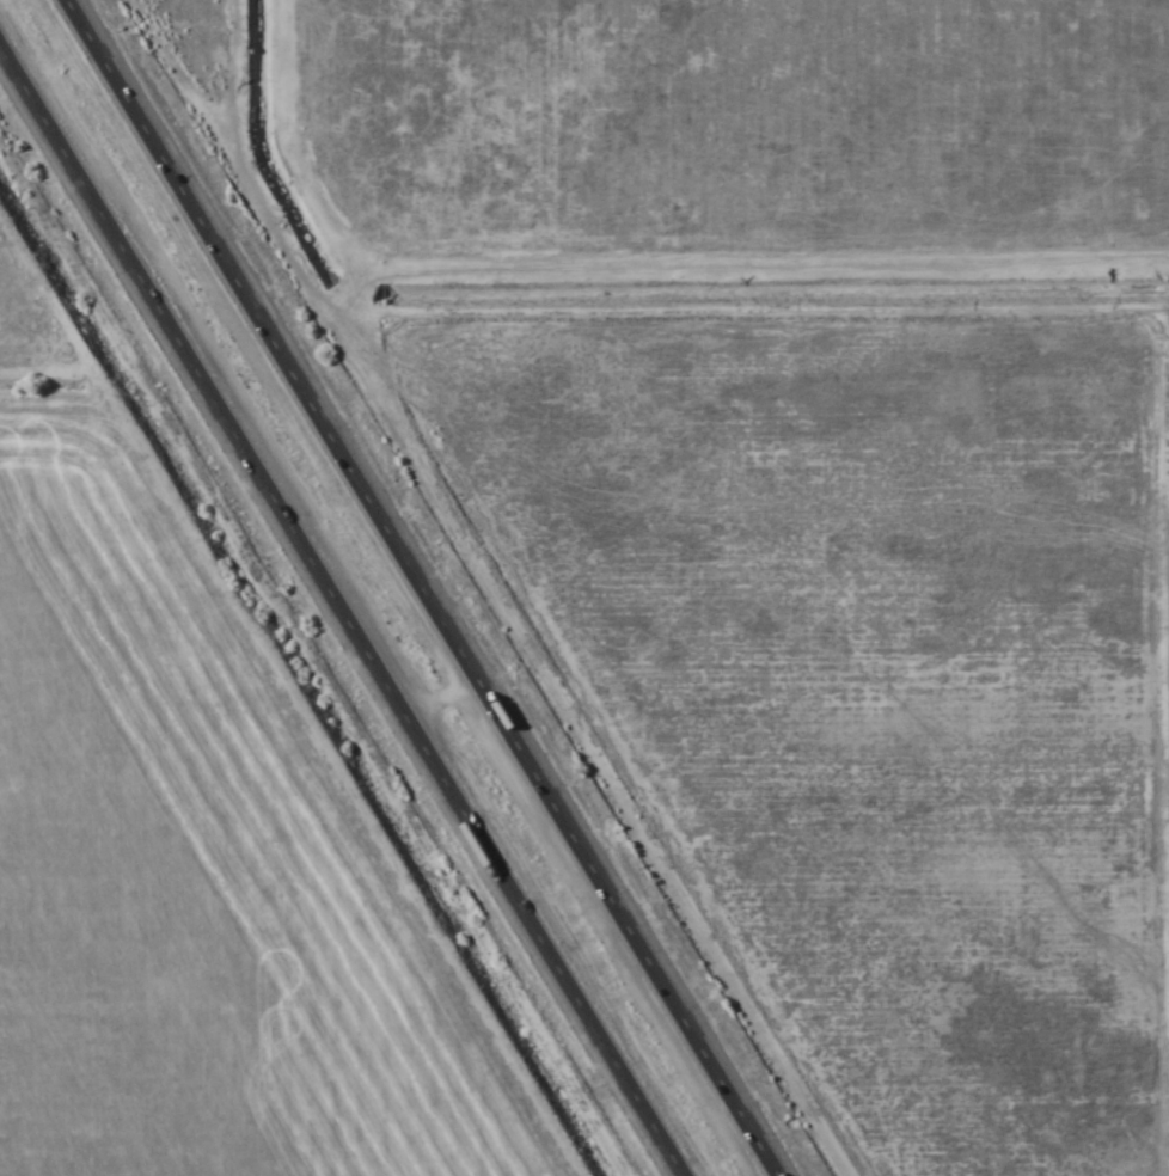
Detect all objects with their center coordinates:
road: (426, 588)
road: (342, 610)

